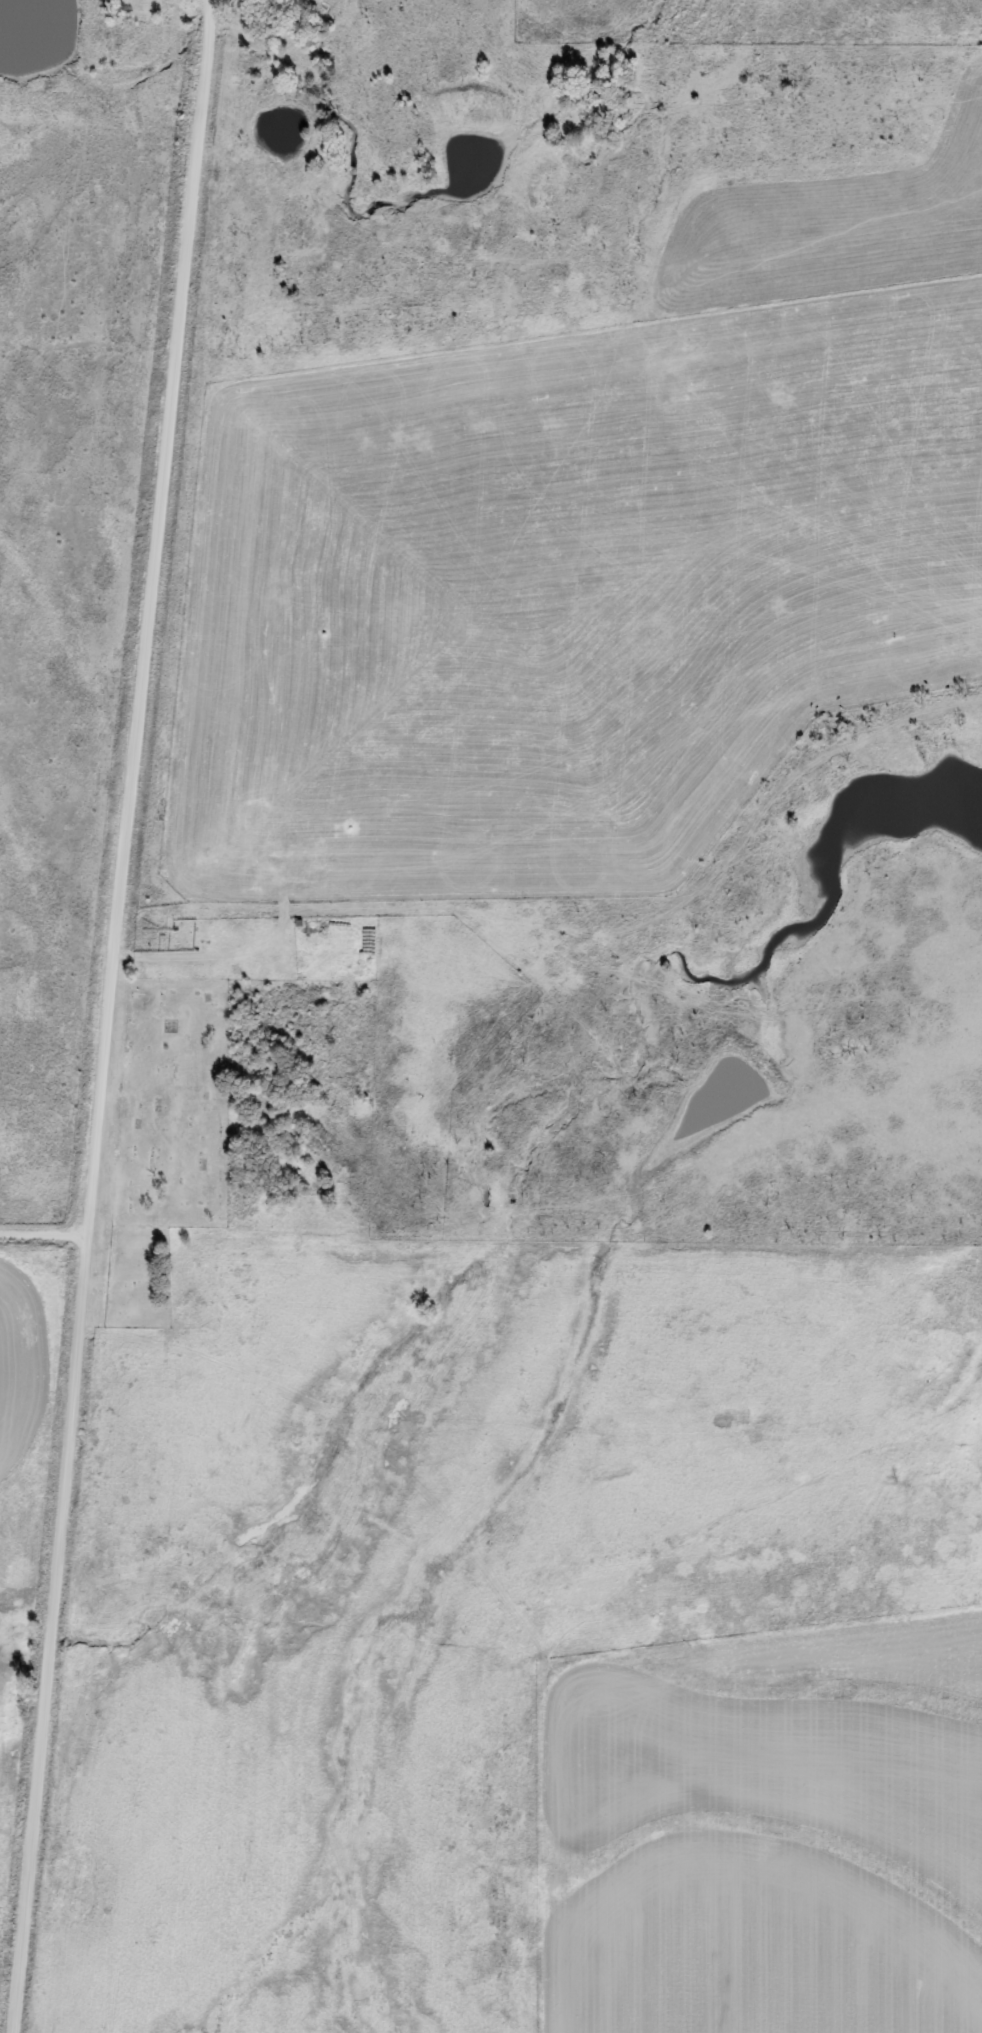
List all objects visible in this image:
road: (105, 1015)
park: (174, 1107)
road: (42, 1236)

